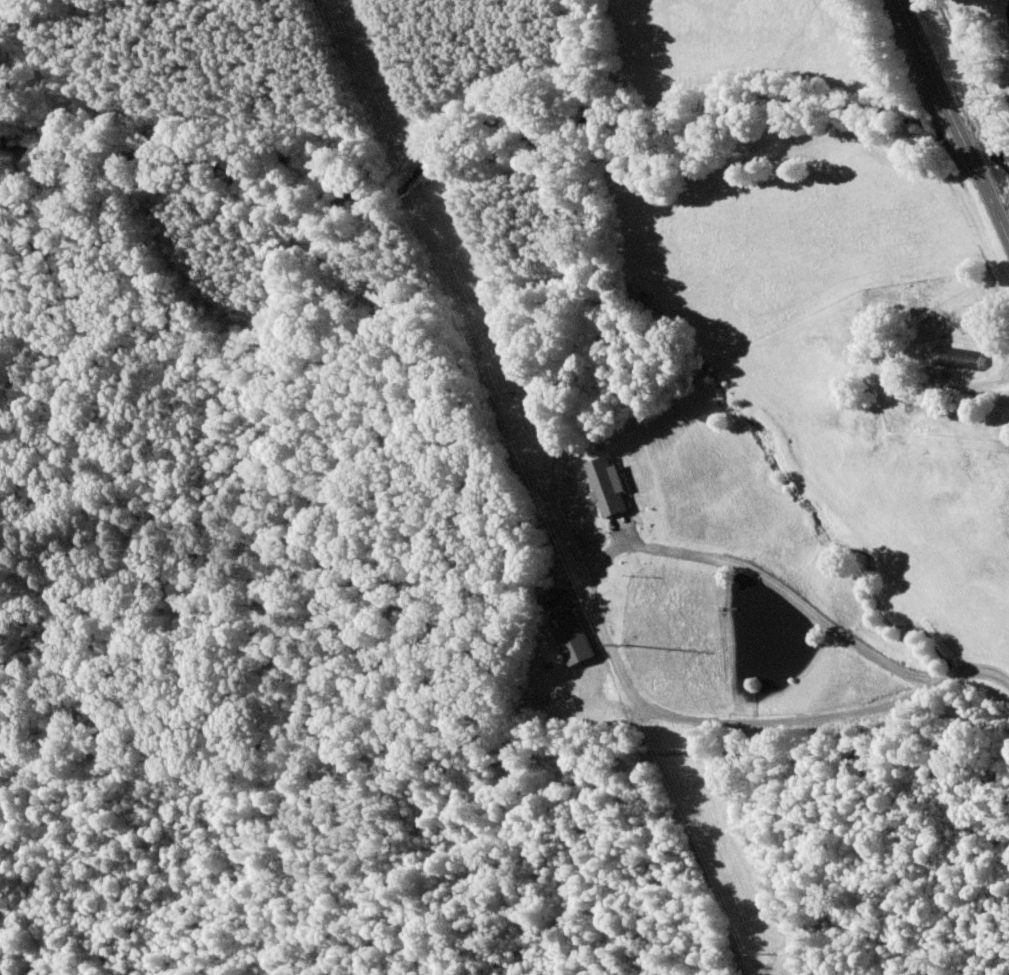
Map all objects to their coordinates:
road: (944, 139)
building: (660, 323)
building: (957, 364)
building: (606, 486)
building: (572, 638)

